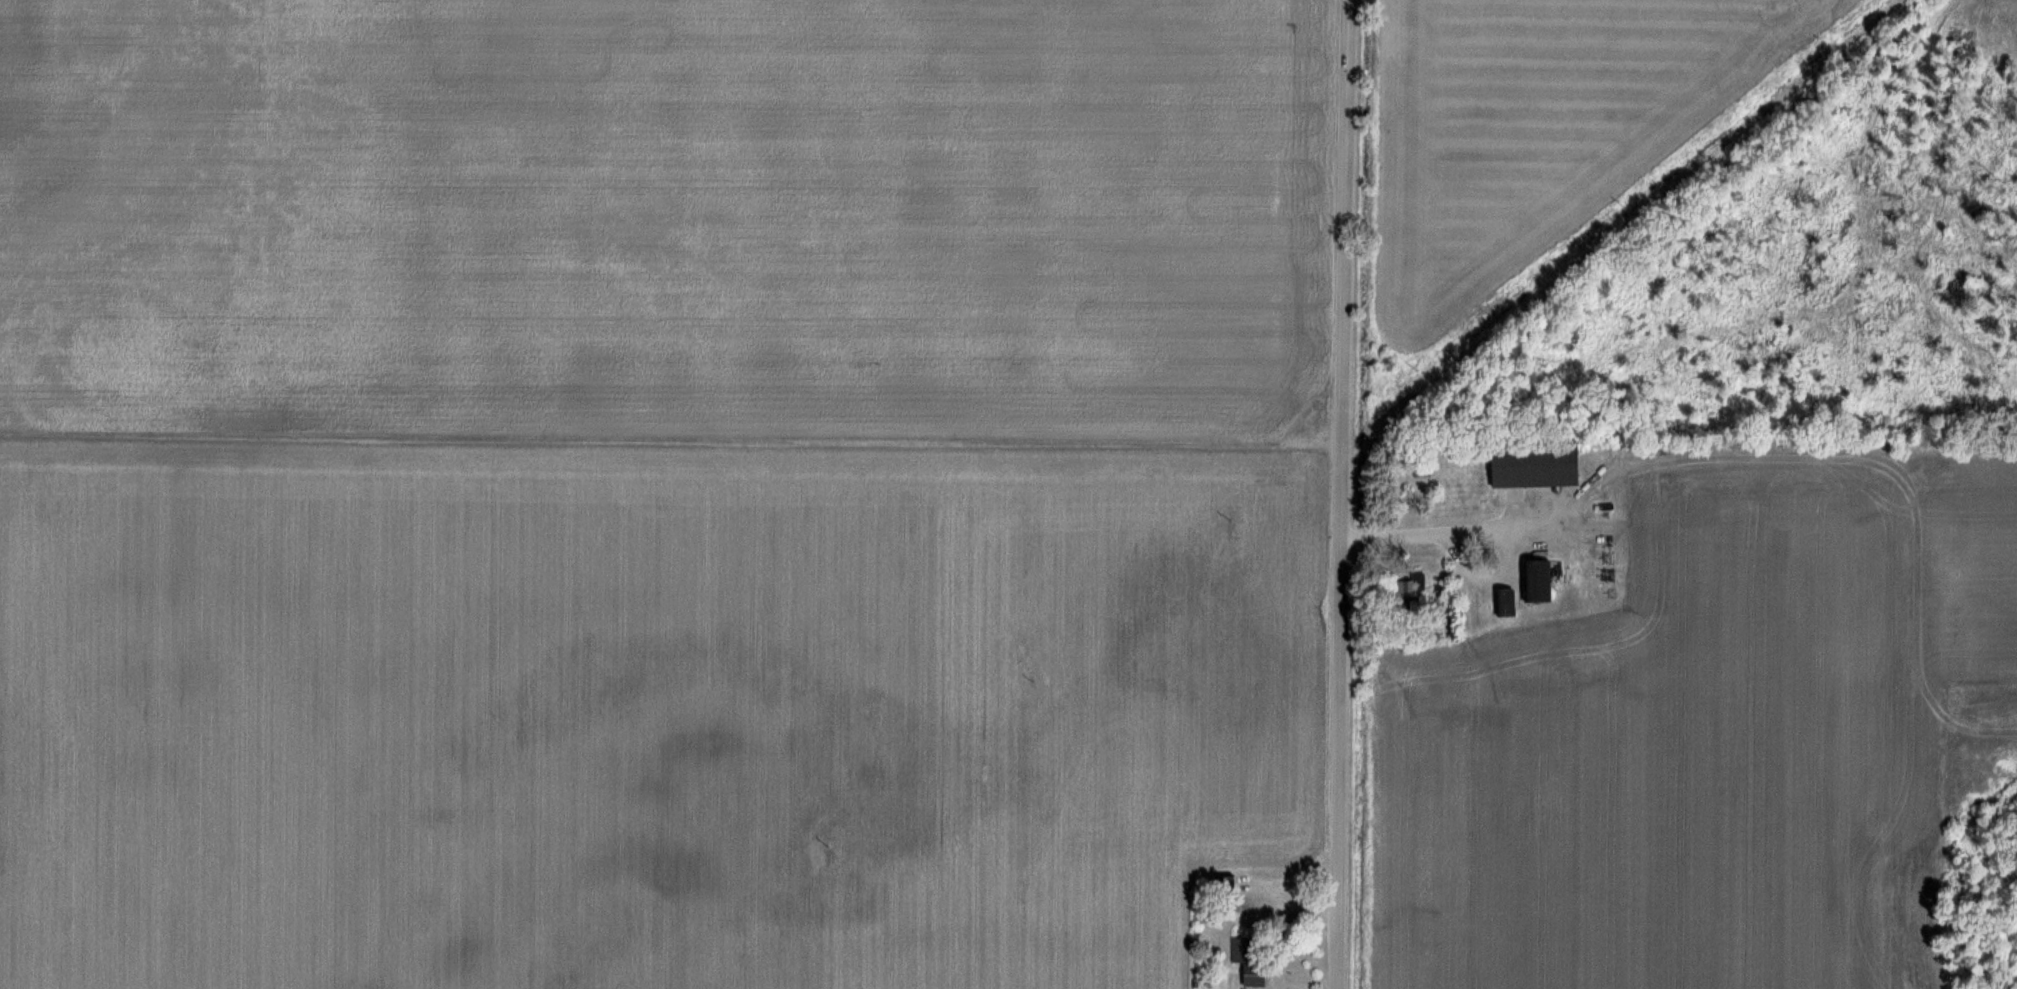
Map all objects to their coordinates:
building: (1531, 466)
road: (1345, 494)
building: (1535, 581)
building: (1409, 589)
building: (1504, 603)
building: (1220, 885)
building: (1247, 959)

